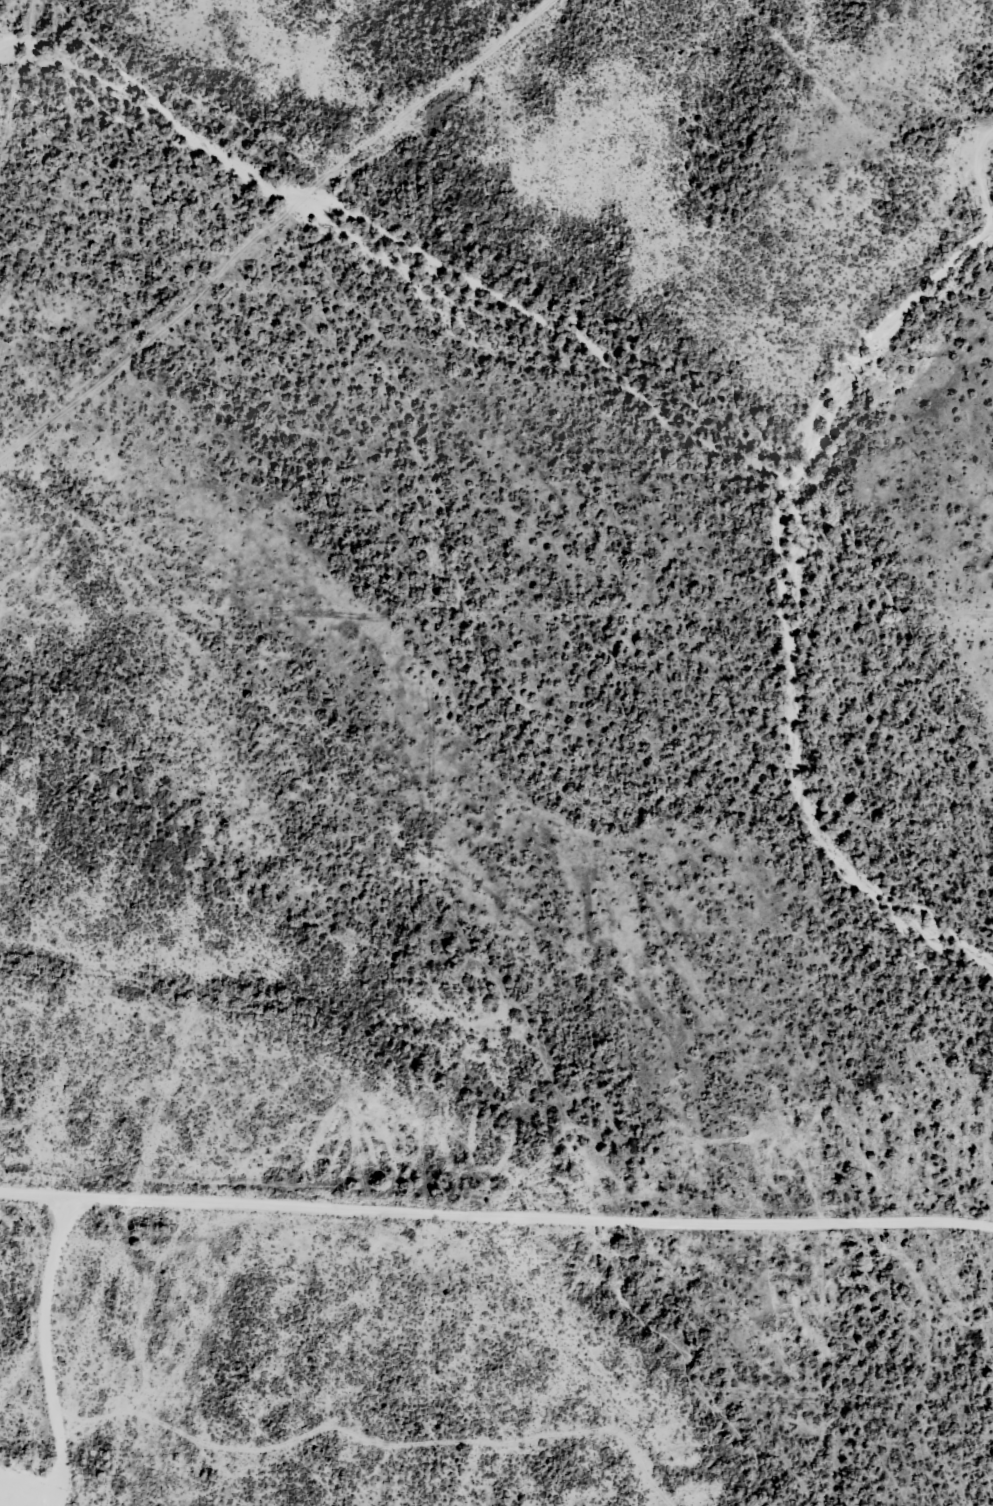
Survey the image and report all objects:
road: (980, 193)
road: (496, 1236)

